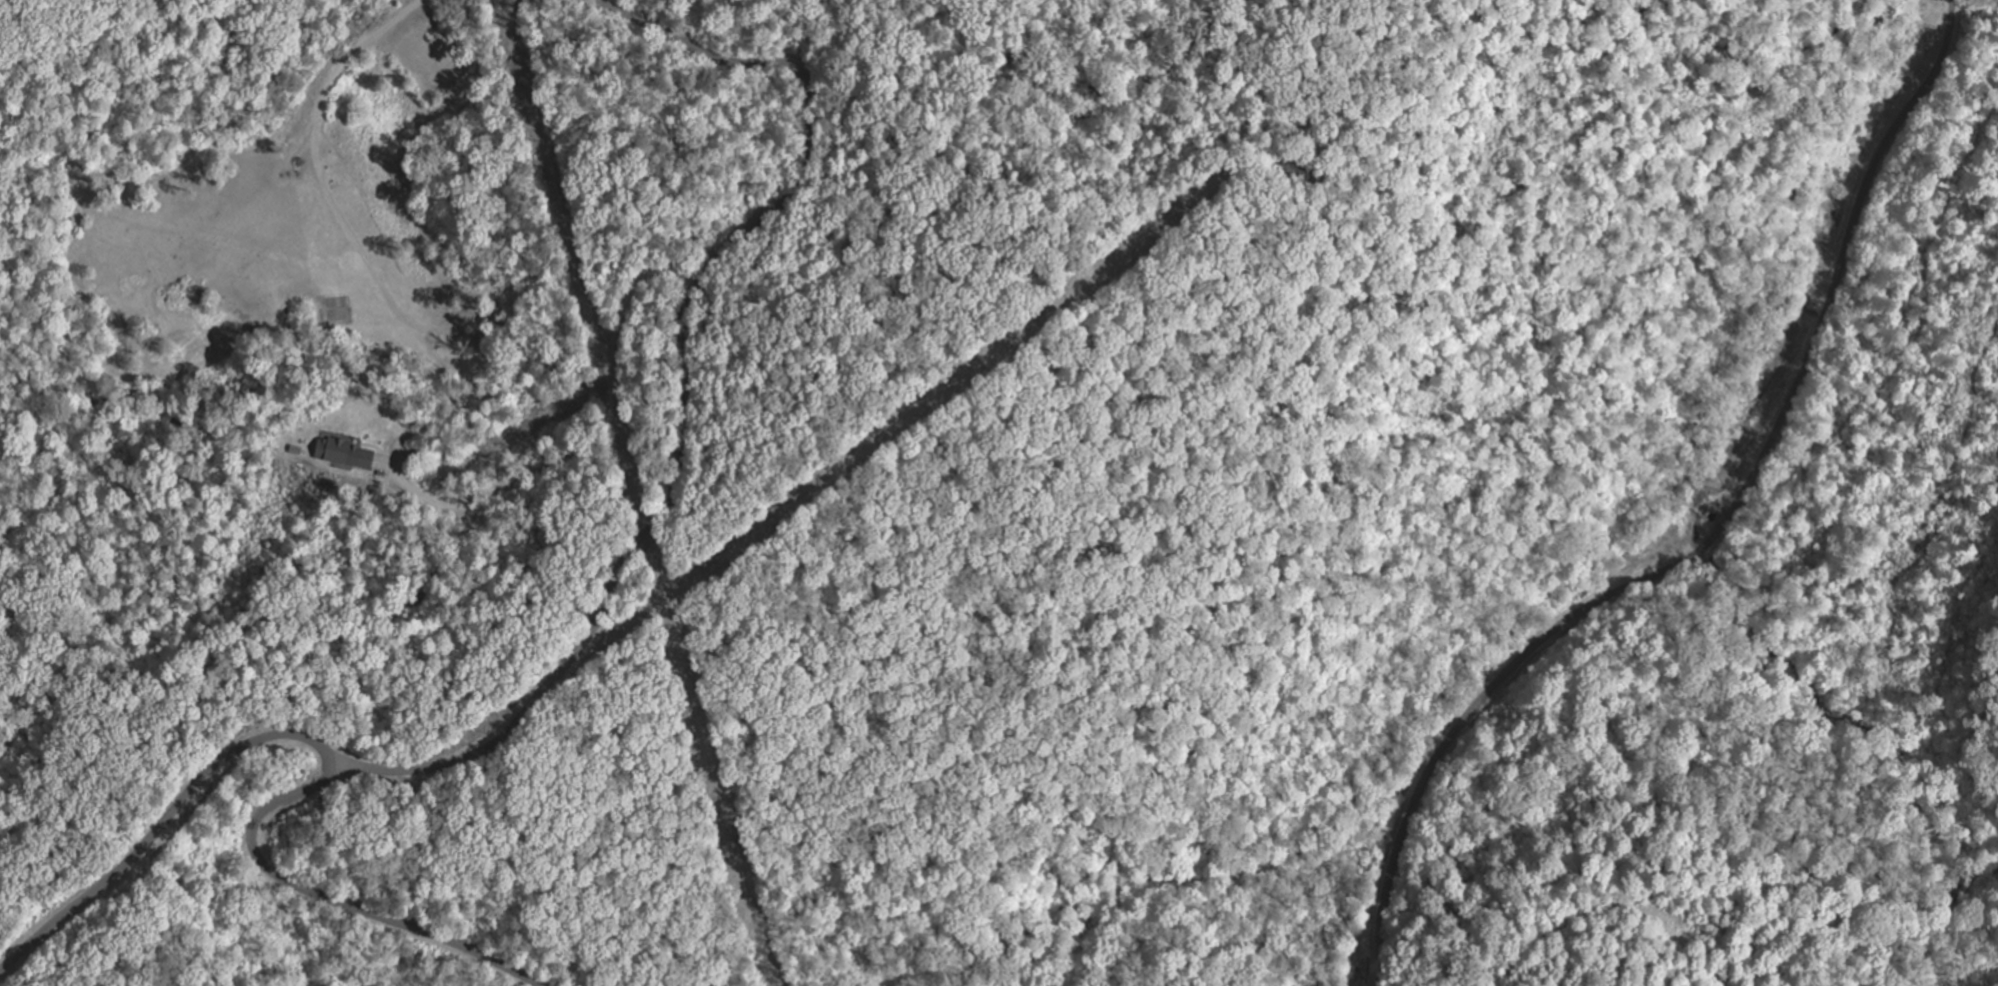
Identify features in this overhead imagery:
road: (684, 392)
road: (597, 437)
road: (1712, 539)
road: (327, 771)

